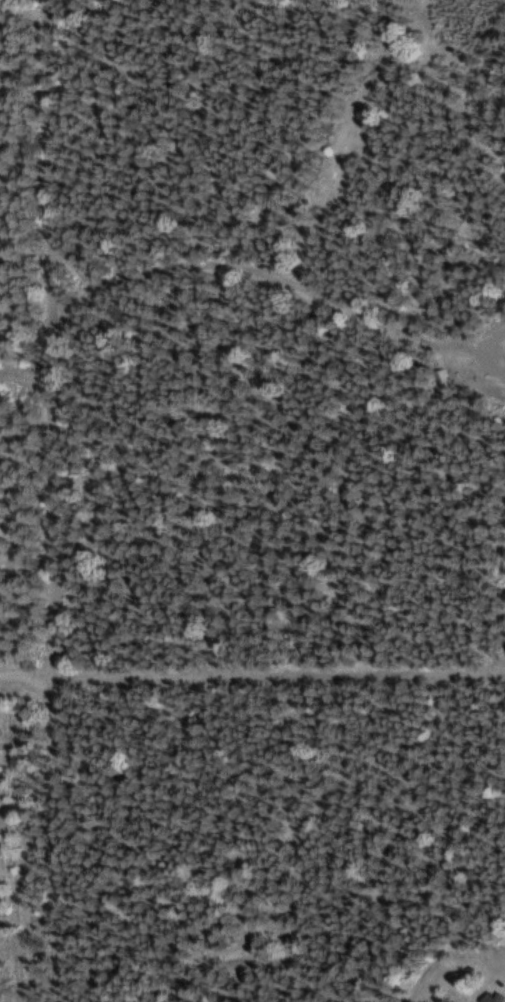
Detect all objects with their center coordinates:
road: (279, 293)
building: (442, 377)
road: (23, 385)
road: (46, 500)
road: (252, 674)
road: (209, 859)
building: (485, 999)

